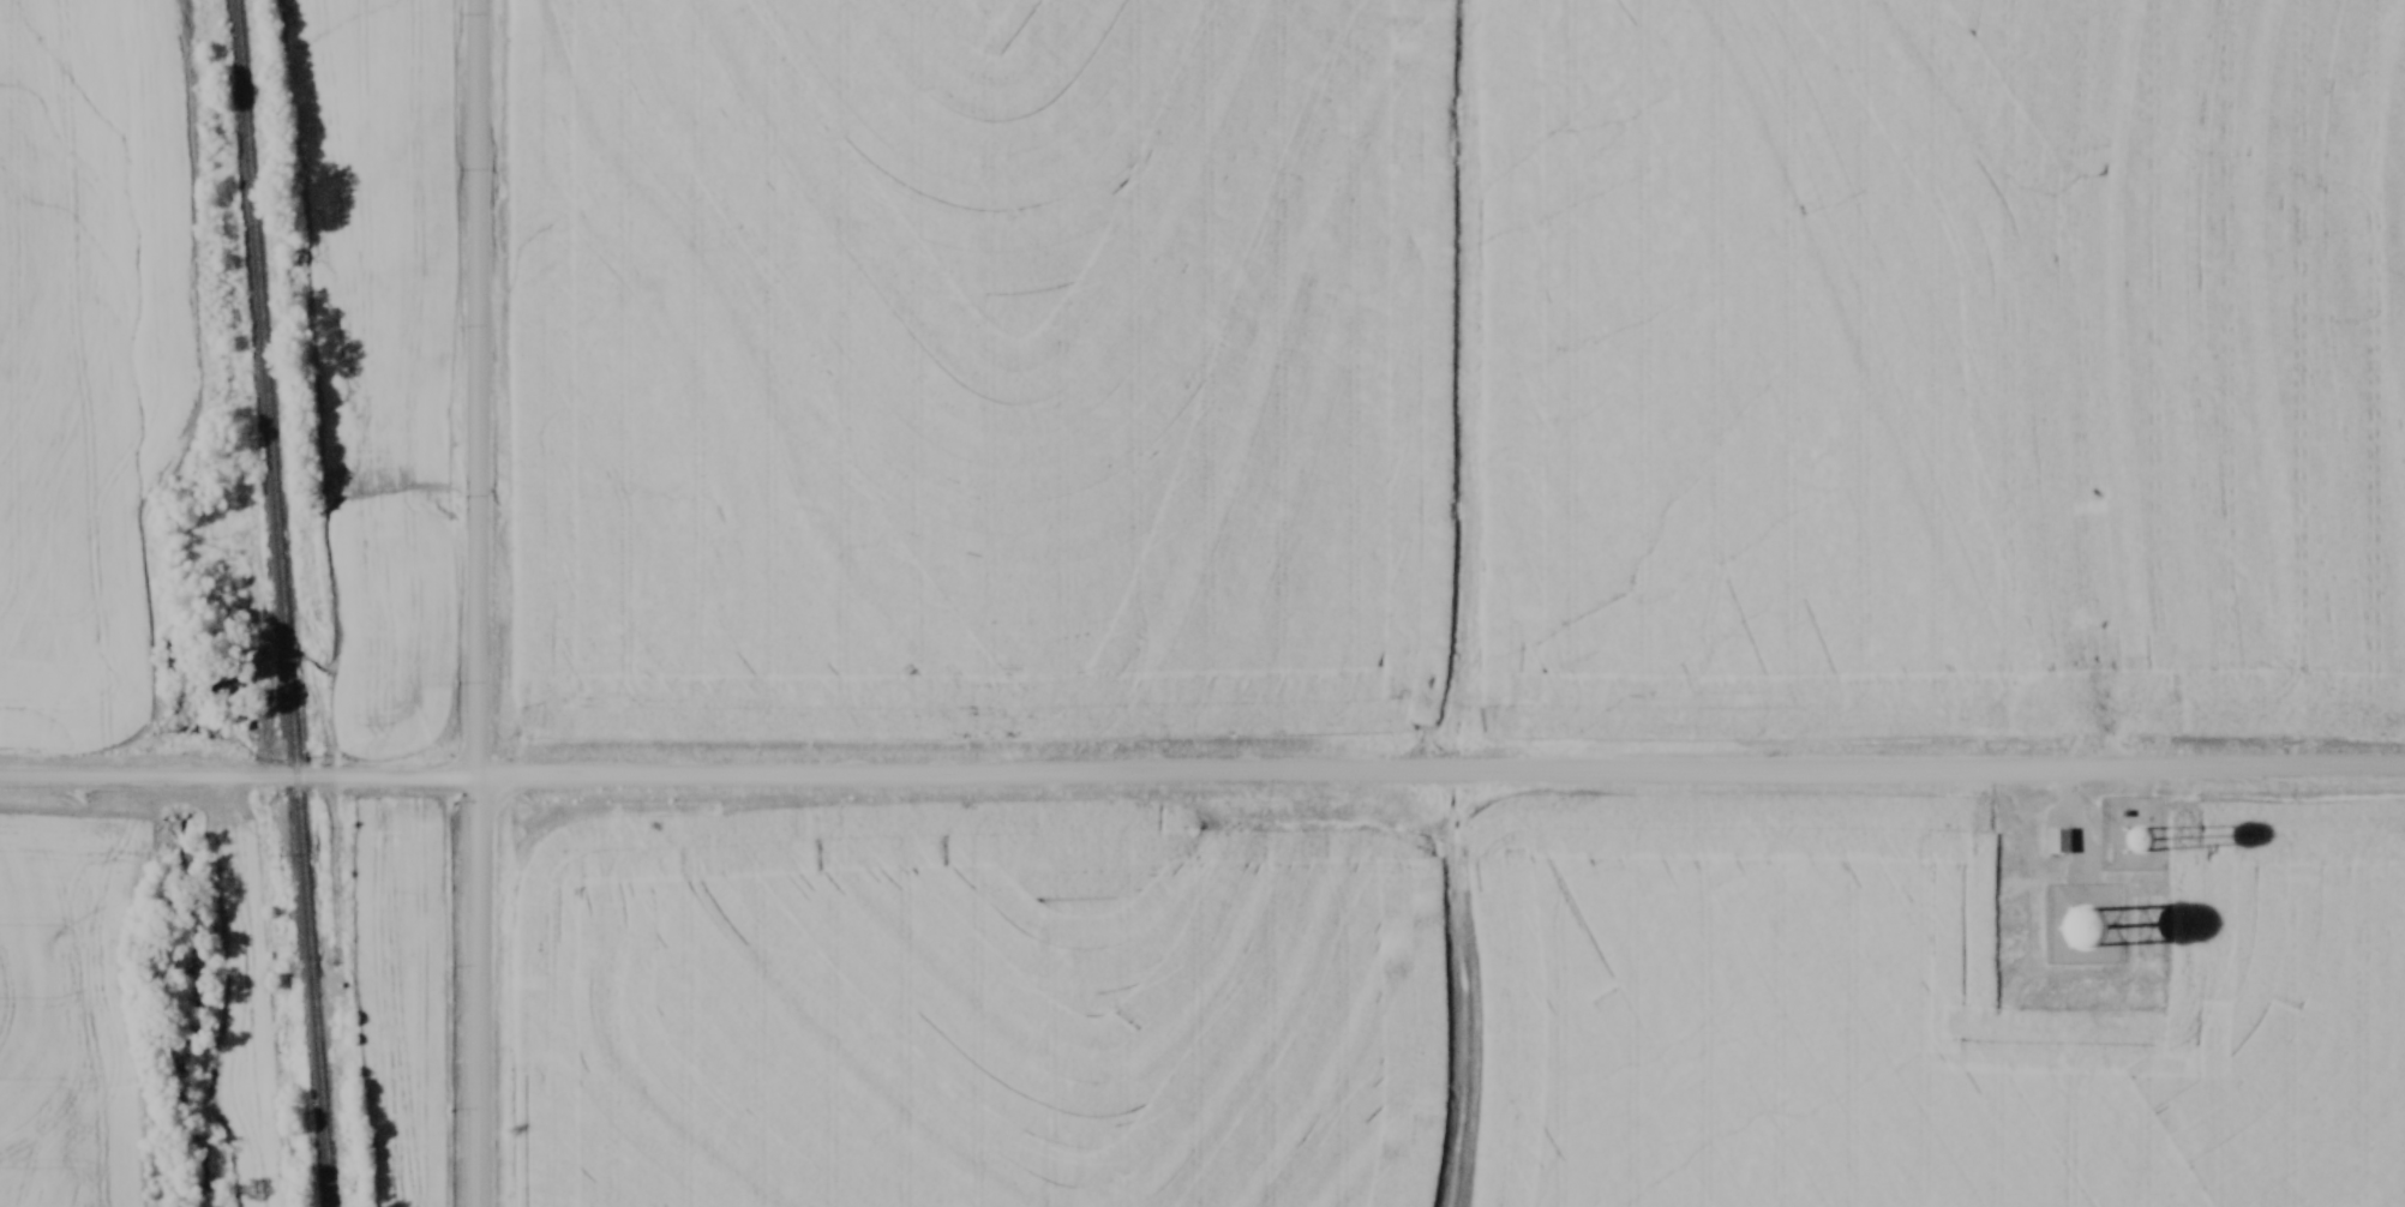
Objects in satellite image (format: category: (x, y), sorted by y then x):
railway: (282, 603)
road: (478, 603)
road: (1202, 773)
building: (2056, 841)
water tower: (2133, 843)
building: (2092, 920)
water tower: (2082, 931)

